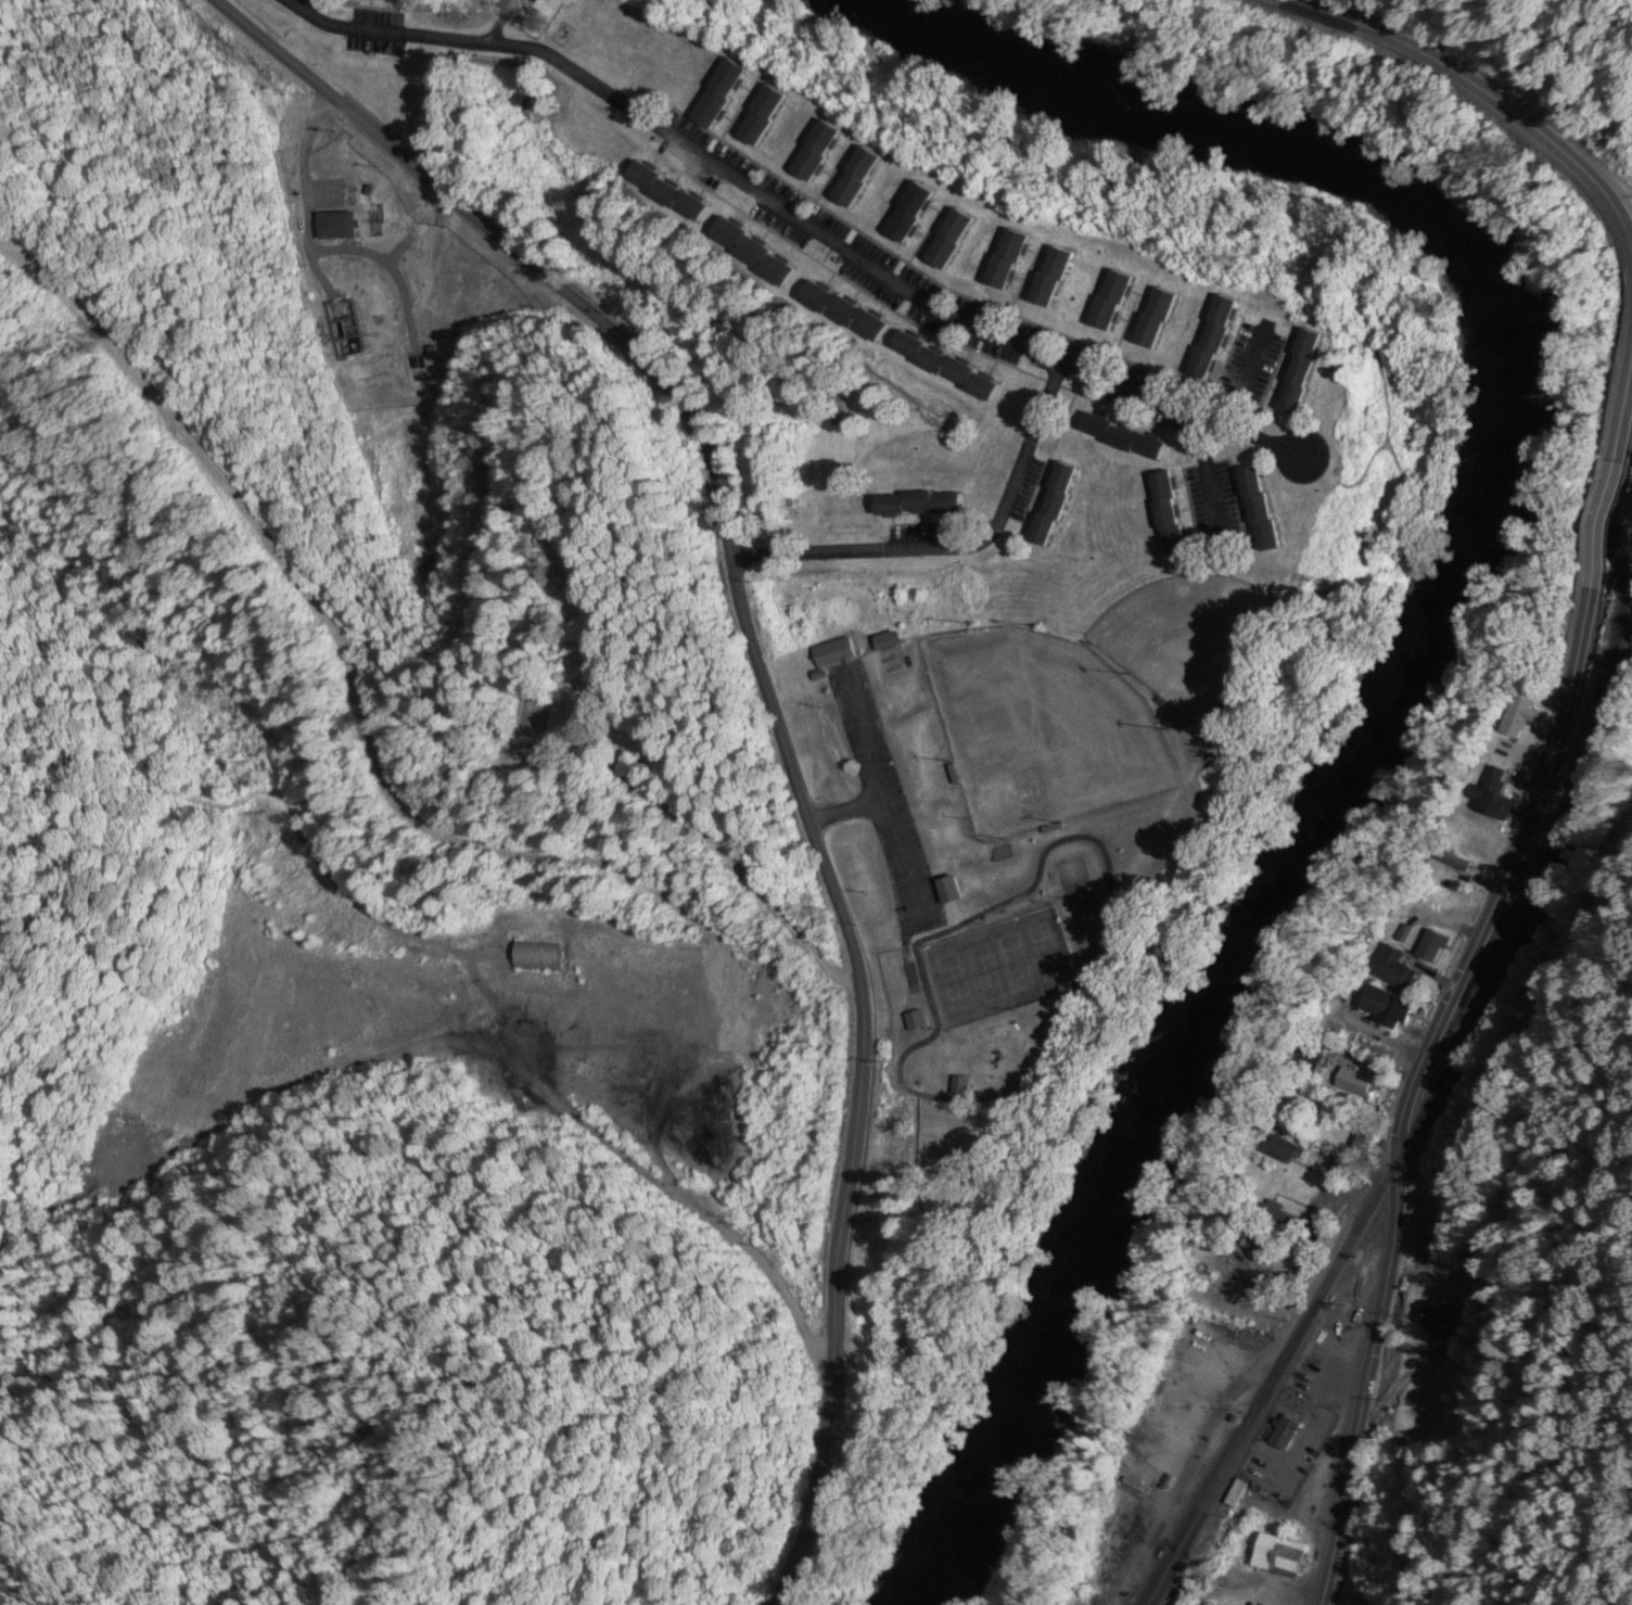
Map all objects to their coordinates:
building: (383, 0)
building: (718, 95)
road: (1488, 98)
building: (761, 117)
building: (815, 154)
building: (855, 180)
building: (667, 193)
road: (773, 203)
building: (909, 215)
building: (949, 241)
road: (1631, 251)
building: (753, 254)
building: (1007, 260)
building: (1050, 278)
building: (1110, 302)
building: (849, 315)
building: (1155, 320)
building: (1213, 339)
building: (945, 366)
building: (1299, 371)
road: (1244, 380)
road: (1621, 408)
building: (1122, 437)
road: (1304, 473)
road: (1211, 484)
building: (918, 505)
building: (1053, 505)
building: (1259, 509)
building: (1168, 514)
road: (1601, 527)
road: (957, 551)
river: (1437, 635)
building: (885, 642)
building: (832, 654)
road: (354, 693)
road: (768, 702)
building: (1518, 716)
park: (1042, 731)
building: (1491, 797)
building: (948, 891)
building: (459, 940)
building: (1431, 947)
building: (537, 959)
park: (998, 970)
building: (1395, 970)
building: (598, 983)
building: (660, 994)
road: (1088, 1005)
building: (1385, 1008)
building: (914, 1022)
building: (1354, 1084)
road: (1411, 1085)
building: (958, 1086)
railway: (1427, 1094)
building: (1280, 1150)
building: (1278, 1217)
building: (1421, 1238)
building: (1439, 1325)
road: (905, 1354)
building: (1284, 1435)
building: (1235, 1494)
building: (1278, 1557)

